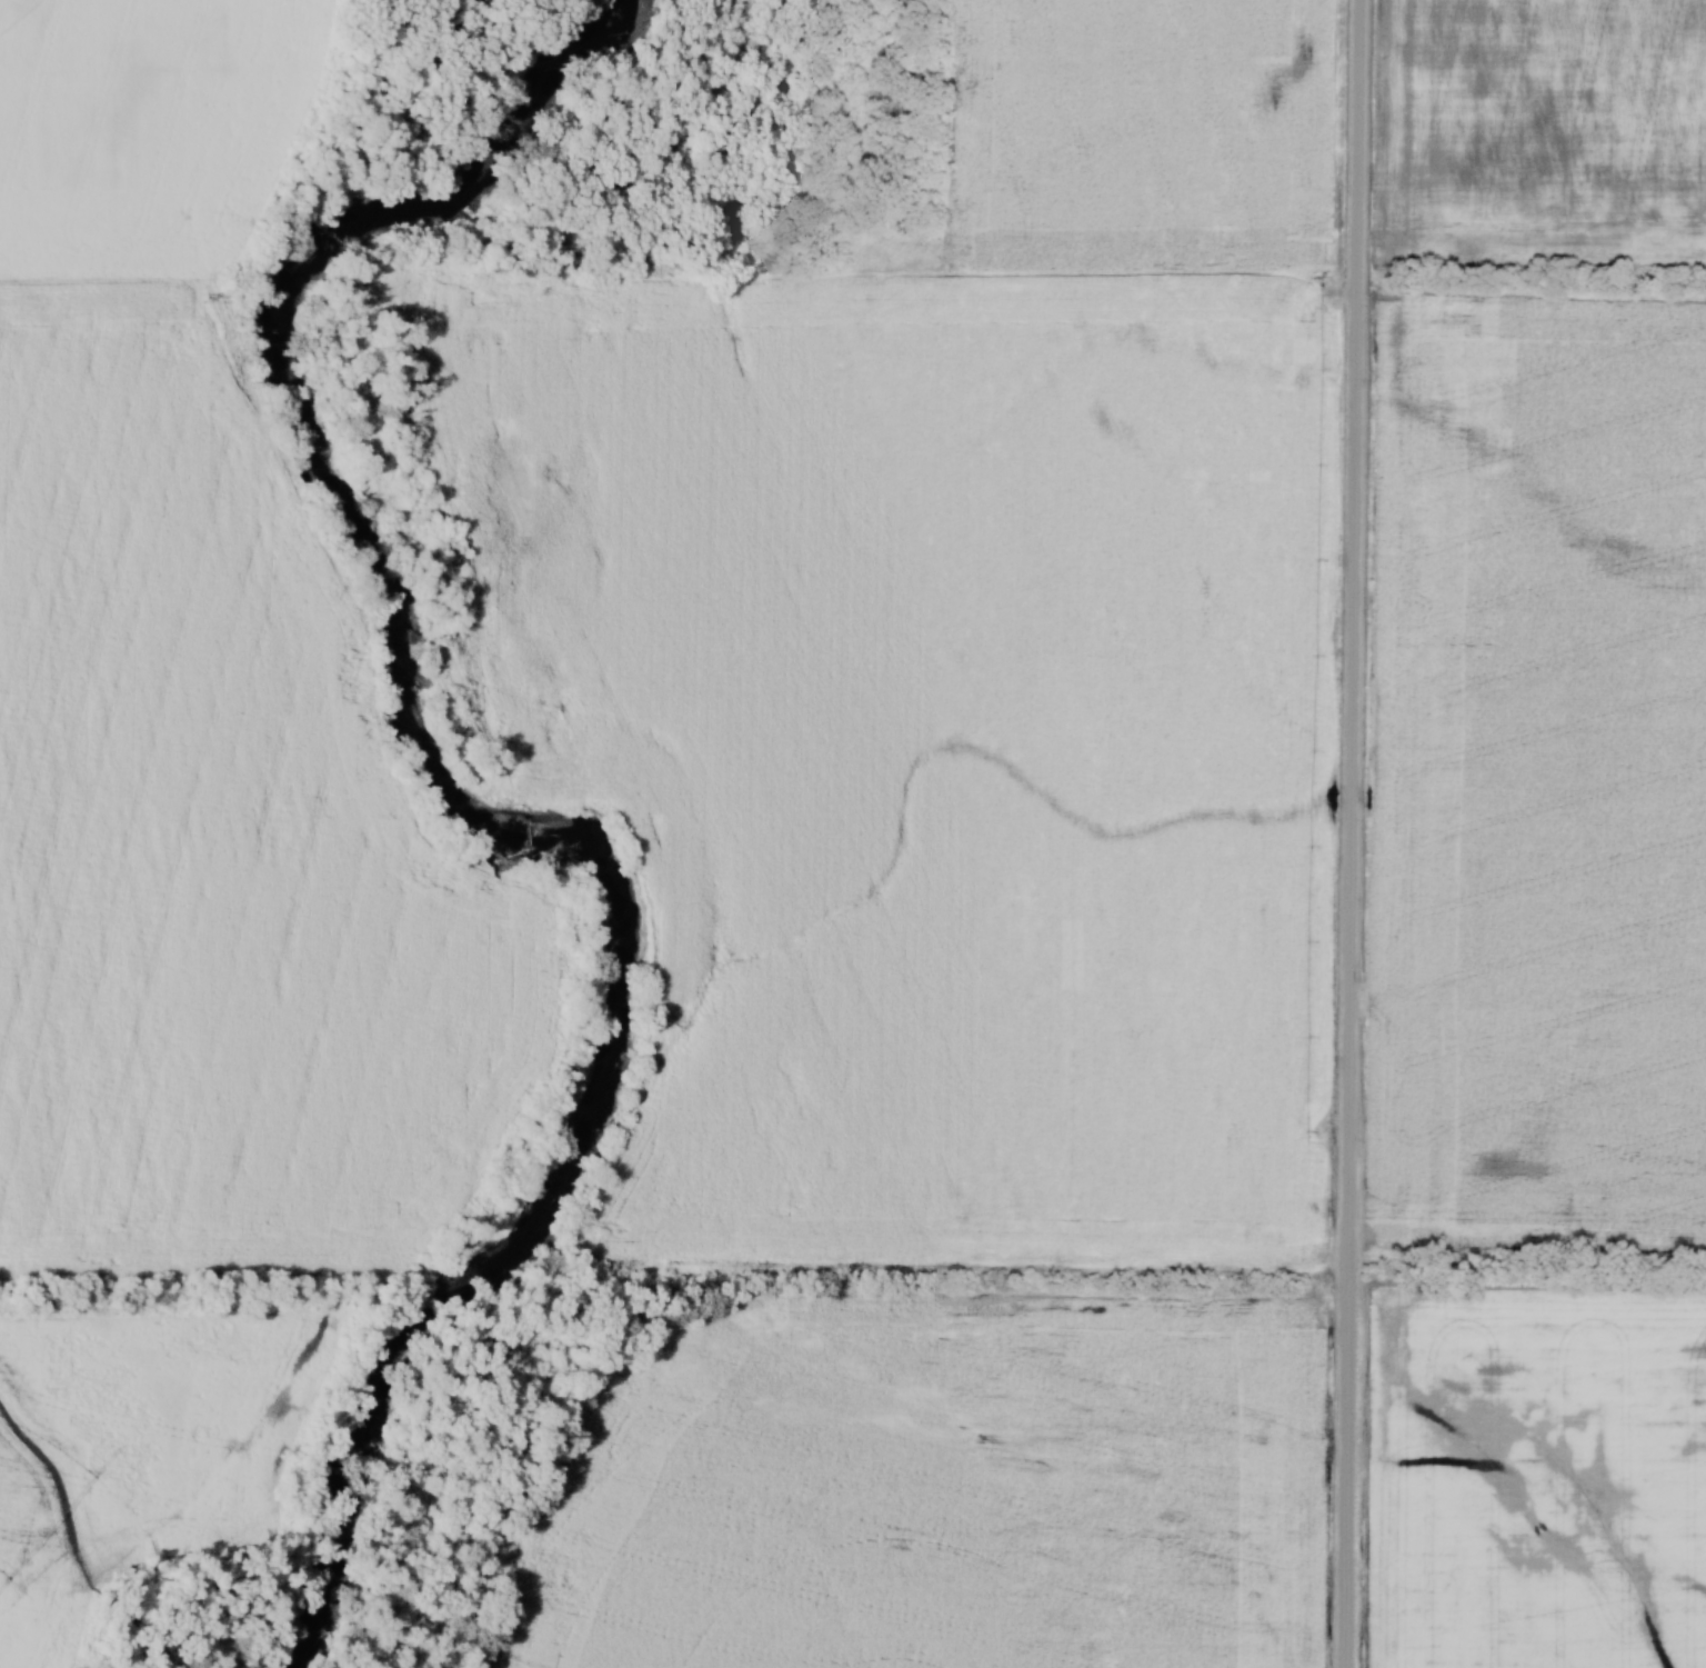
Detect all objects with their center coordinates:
road: (1352, 833)

